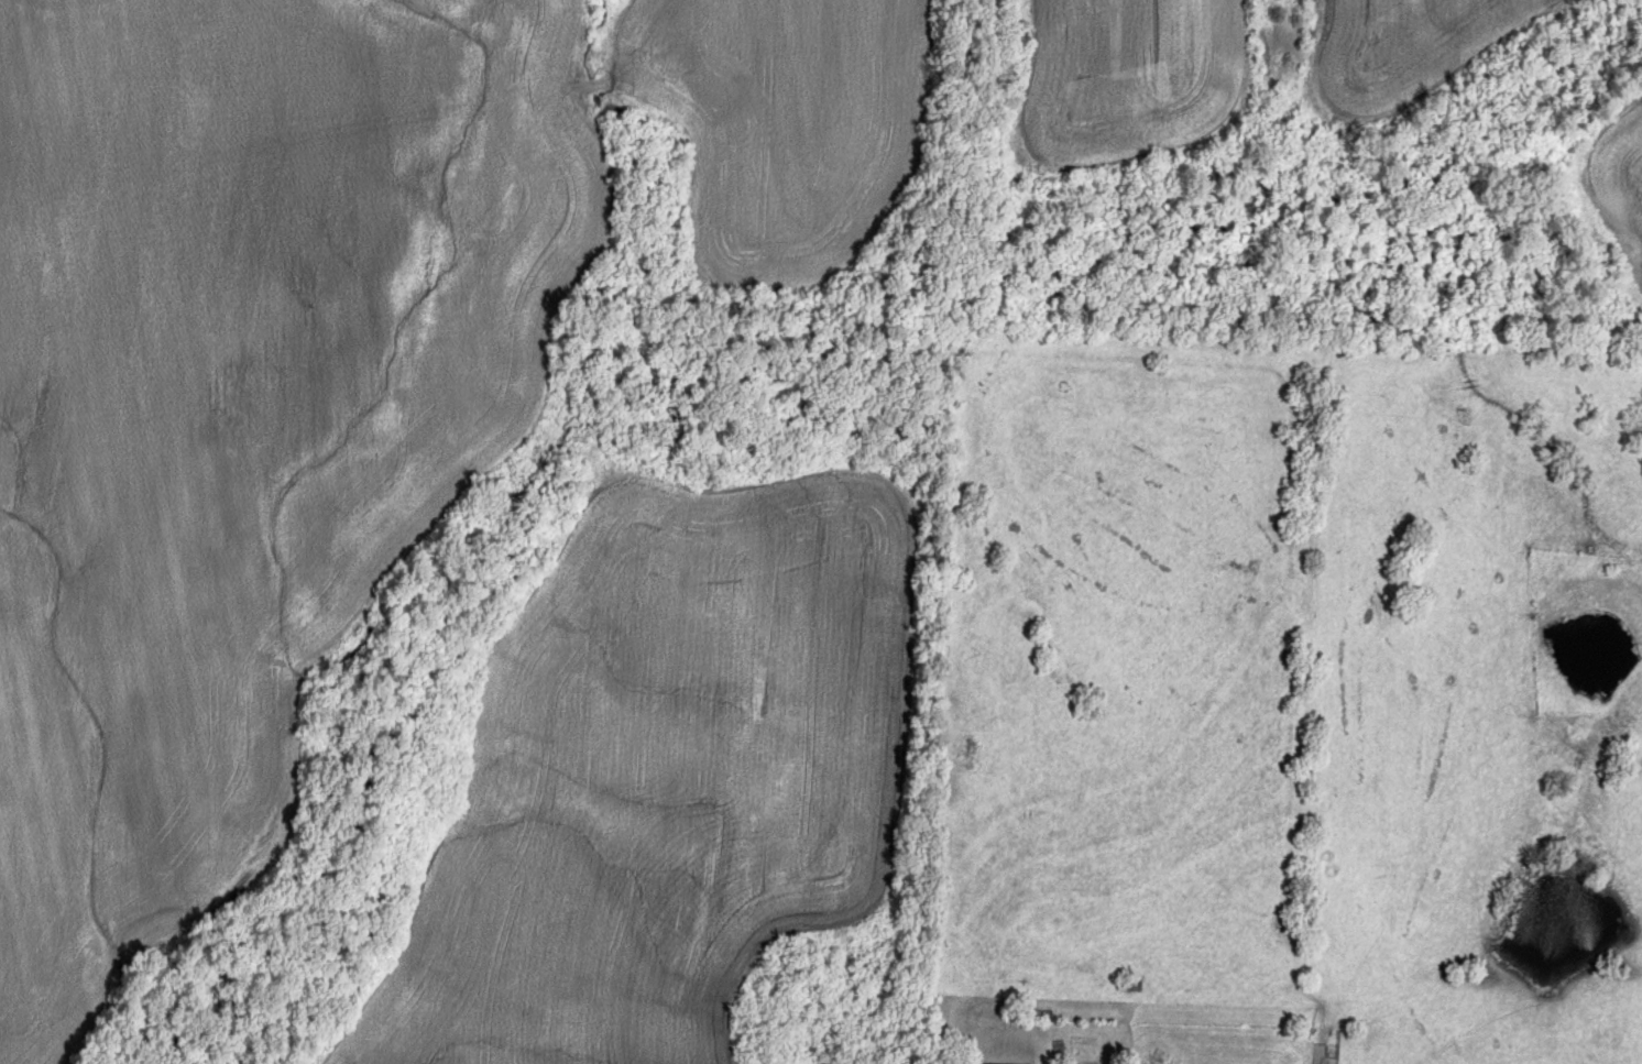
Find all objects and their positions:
building: (1000, 1063)

